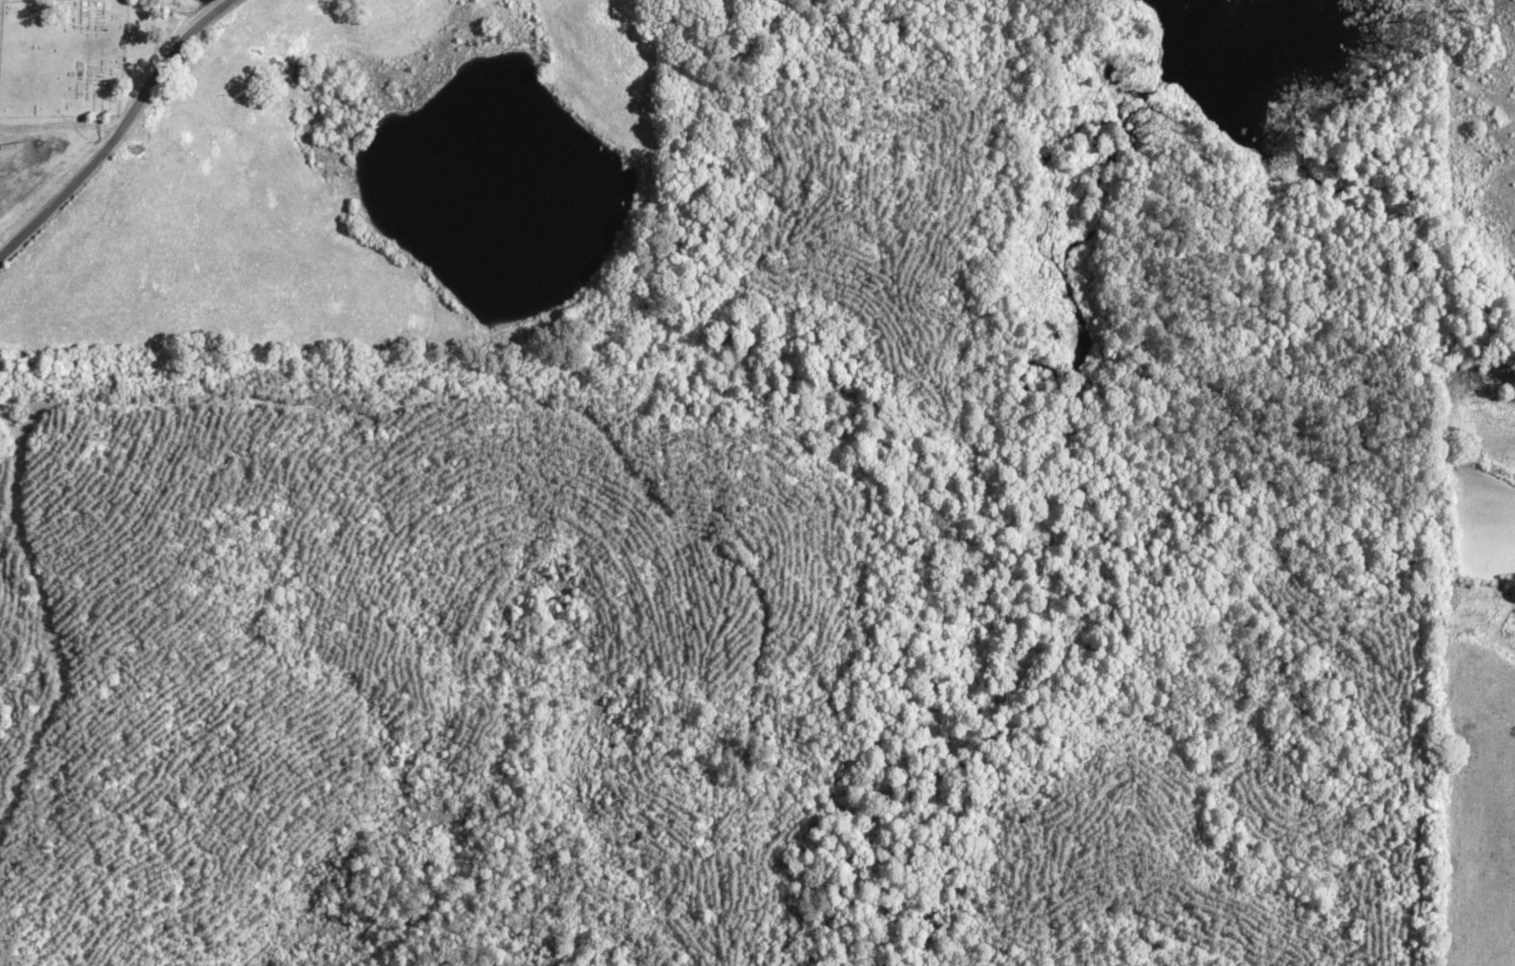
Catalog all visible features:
road: (115, 126)

